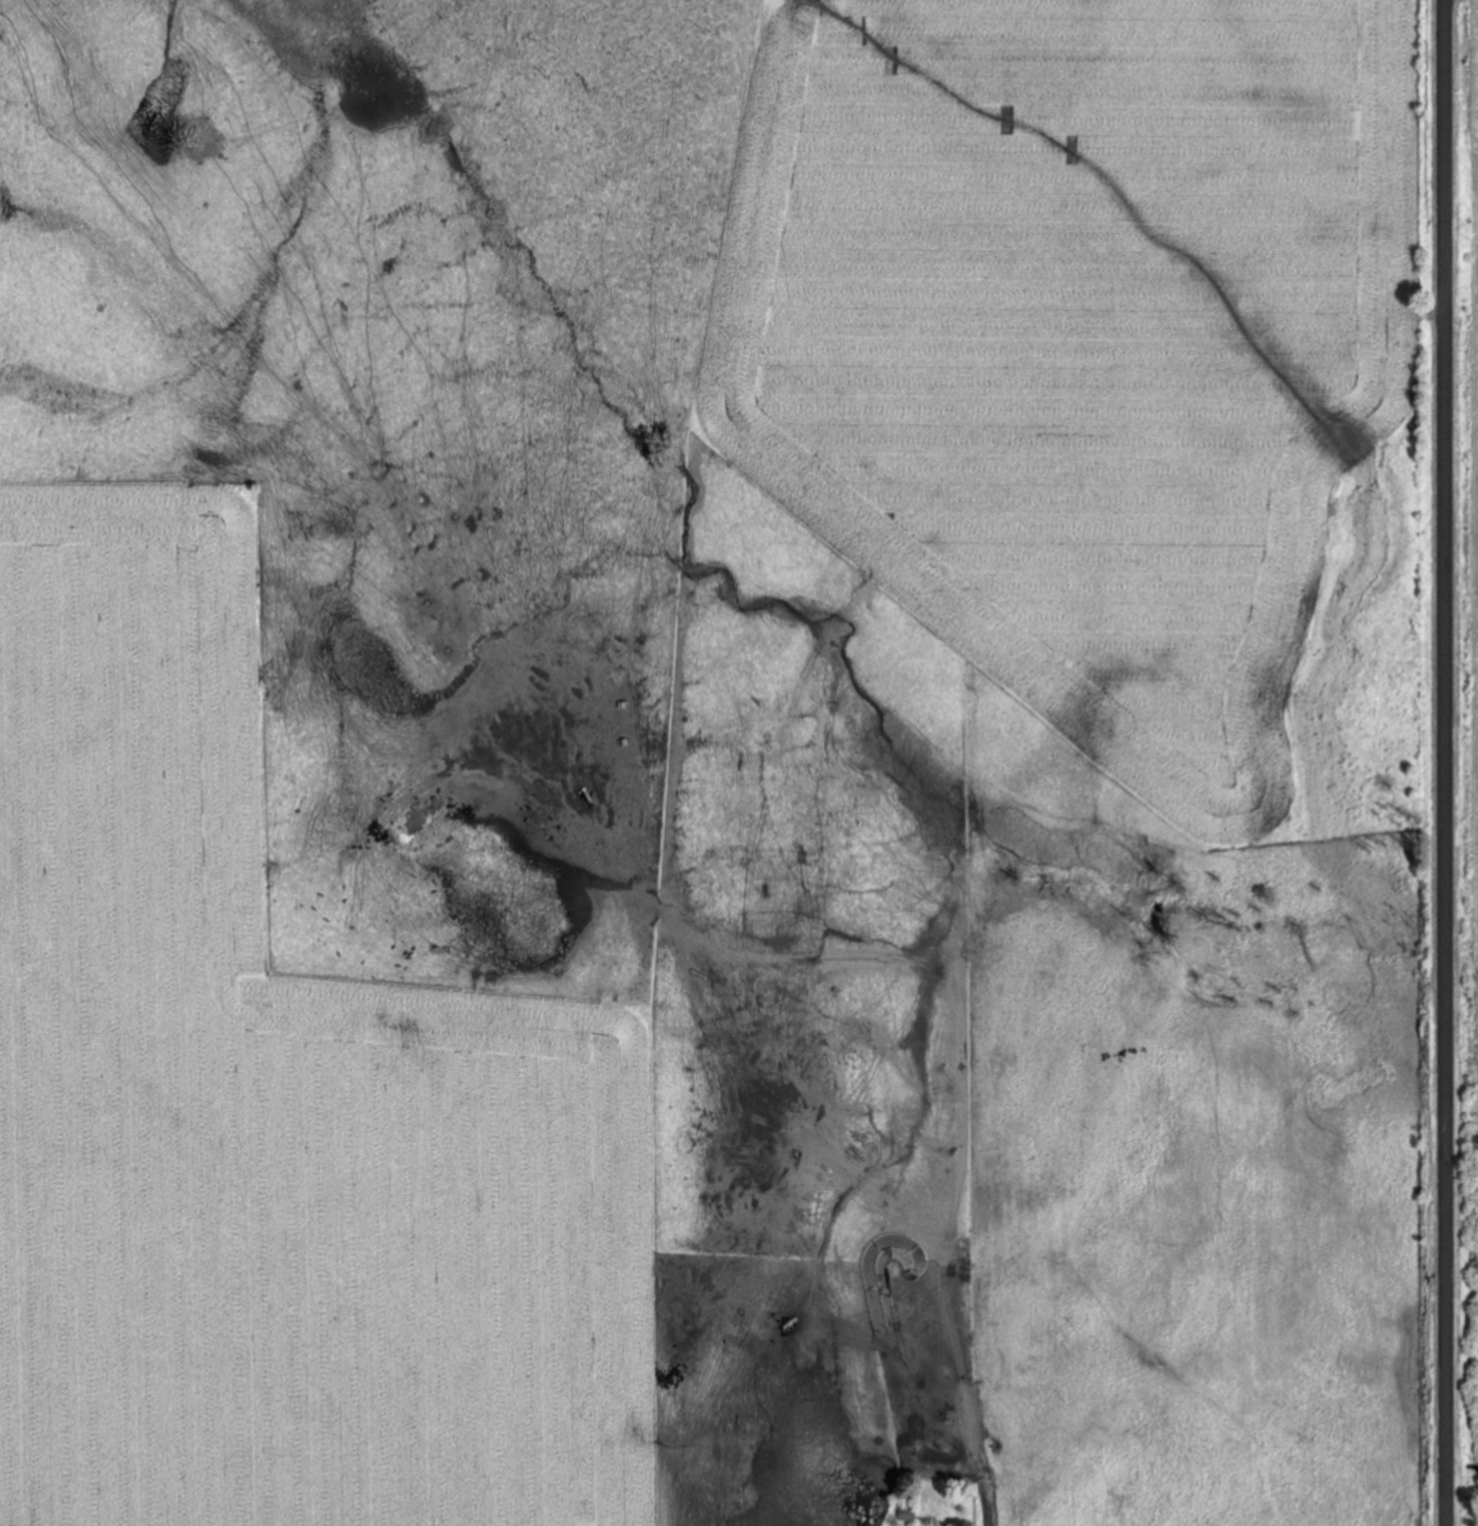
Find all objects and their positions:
road: (1447, 763)
building: (912, 1513)

